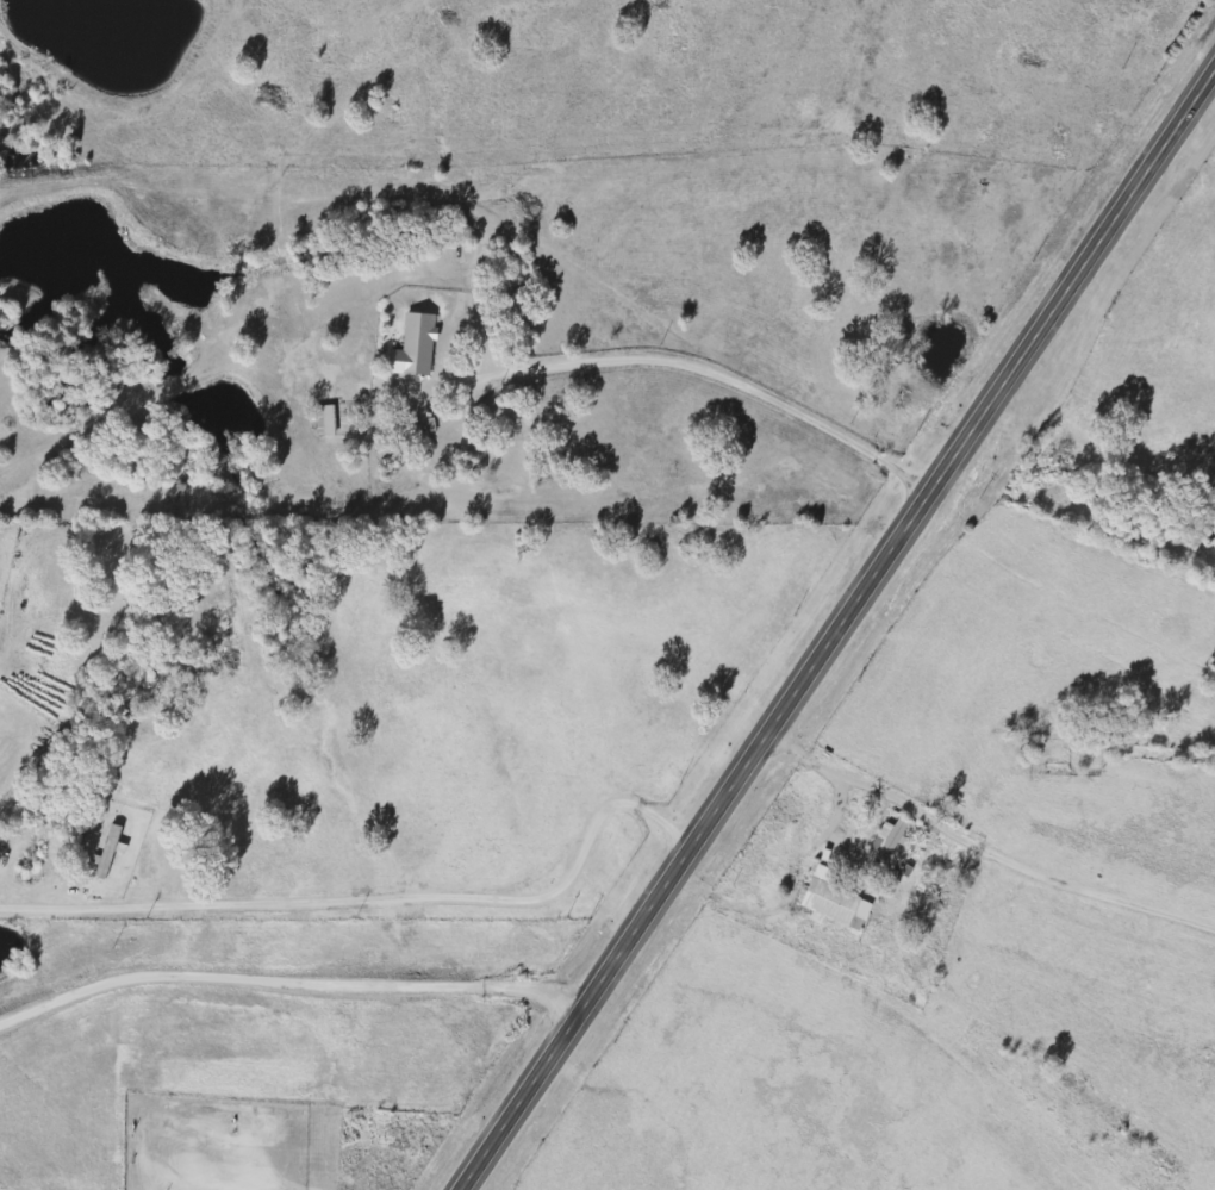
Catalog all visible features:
building: (416, 348)
road: (715, 374)
building: (326, 422)
road: (839, 630)
building: (890, 841)
building: (110, 852)
building: (834, 902)

